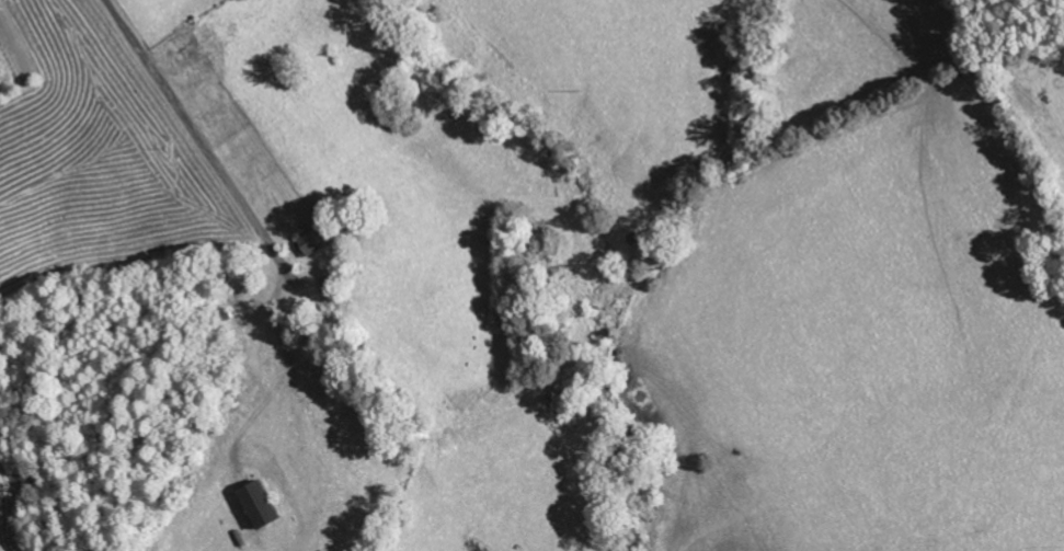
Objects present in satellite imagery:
road: (202, 144)
building: (317, 241)
building: (265, 505)

